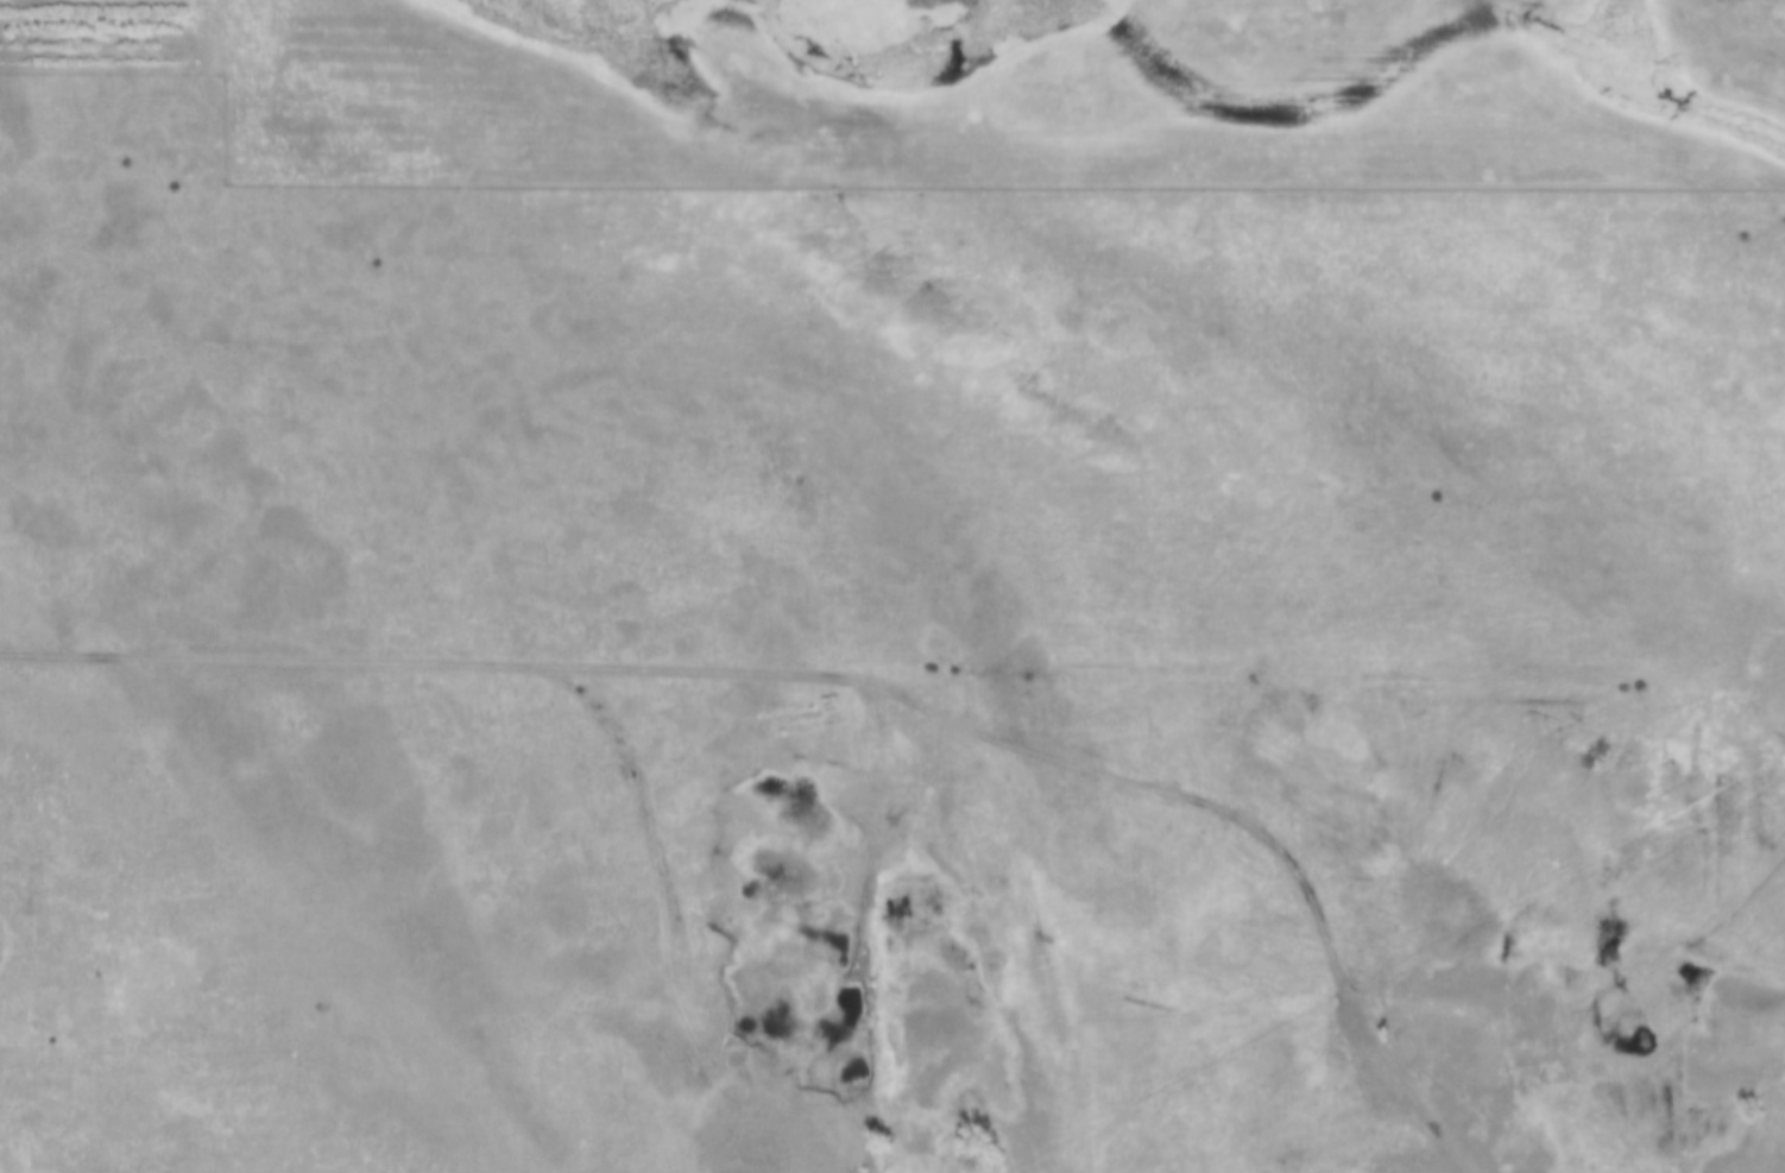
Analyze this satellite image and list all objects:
road: (851, 670)
quarry: (1569, 1067)

